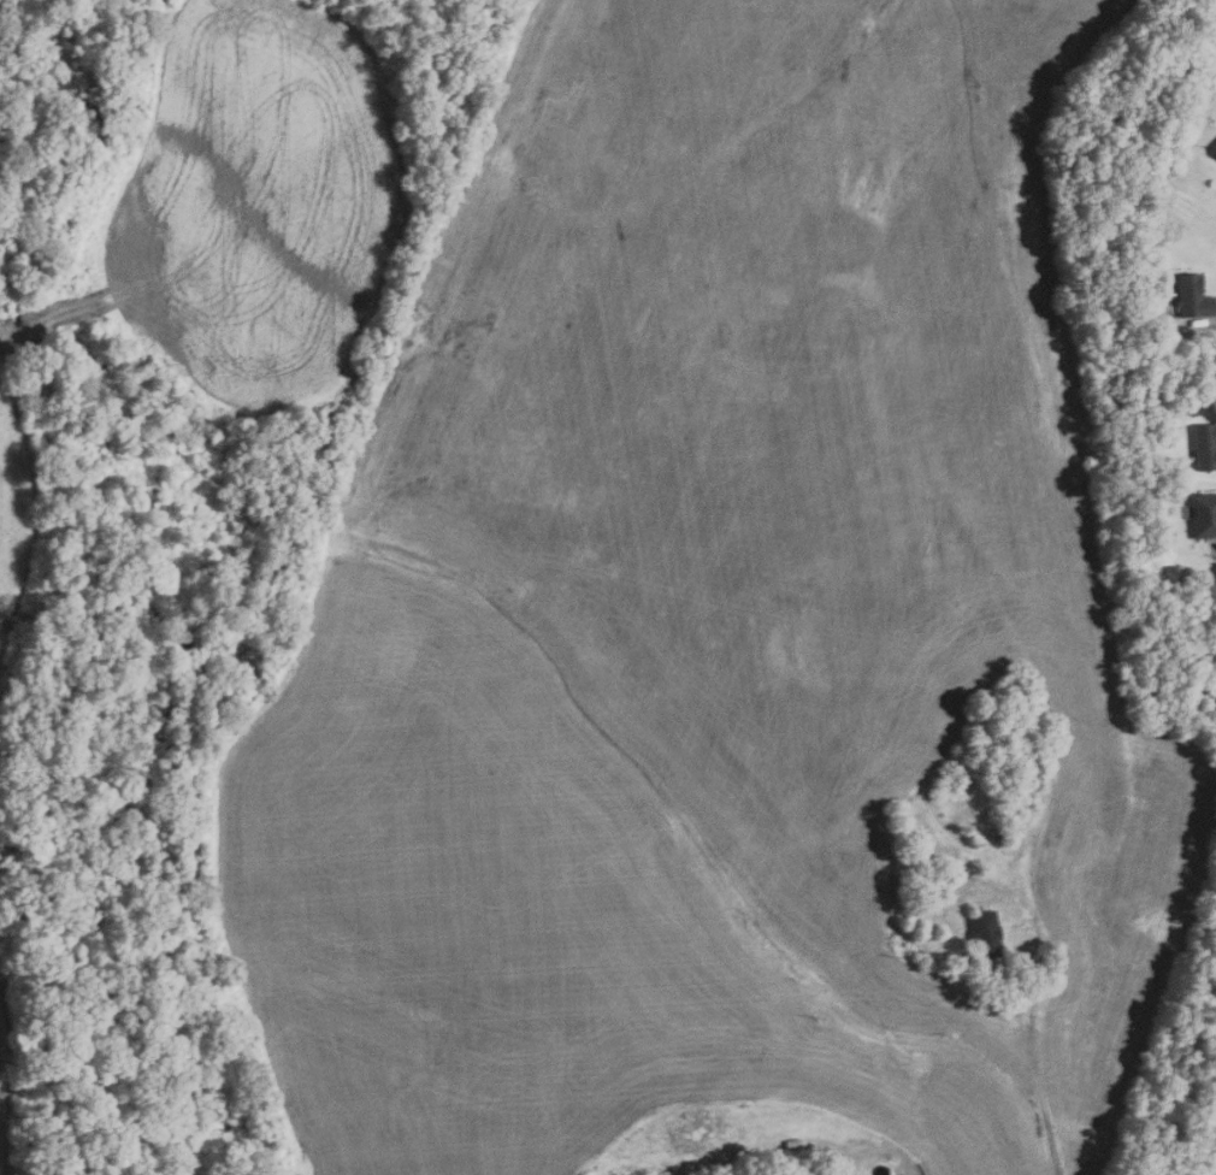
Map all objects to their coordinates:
building: (1171, 142)
building: (1212, 148)
building: (1192, 296)
road: (1205, 325)
building: (1159, 443)
building: (1202, 445)
building: (1203, 515)
road: (1215, 555)
building: (845, 559)
building: (996, 834)
building: (982, 933)
road: (1035, 1062)

